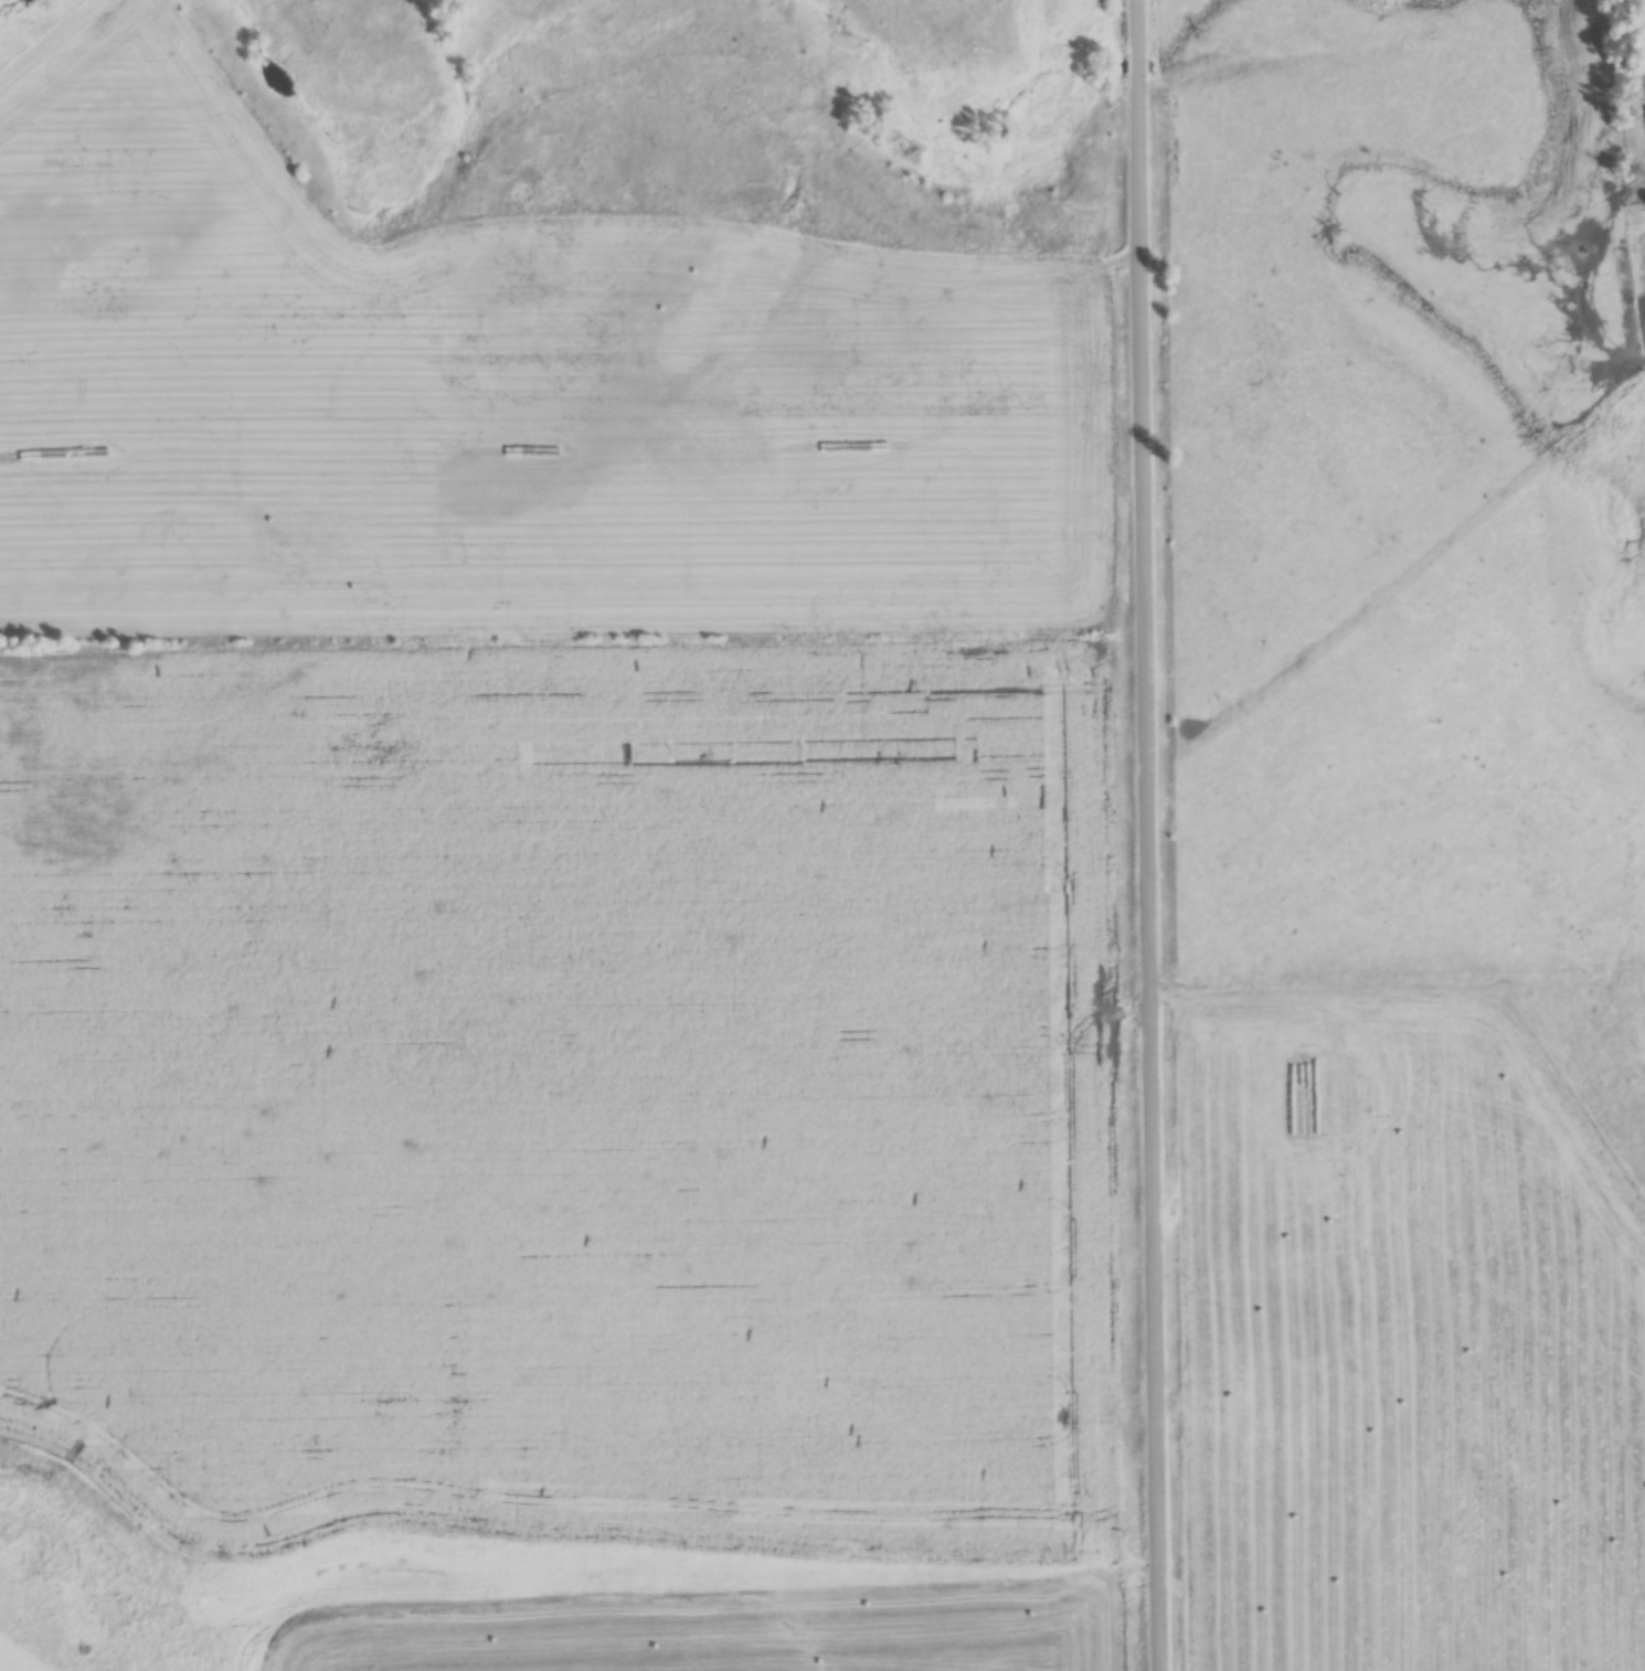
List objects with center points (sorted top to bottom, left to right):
road: (1149, 835)

